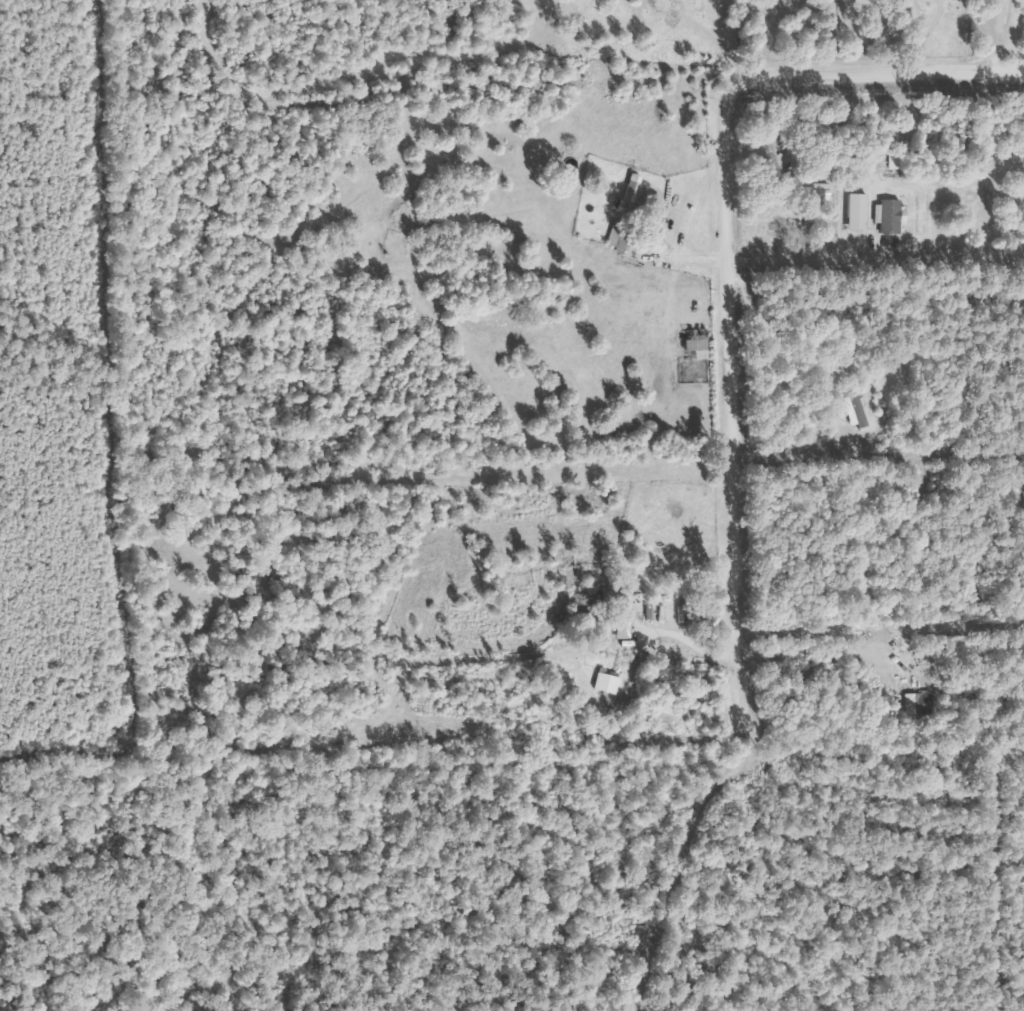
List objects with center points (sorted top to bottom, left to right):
road: (202, 8)
road: (599, 30)
road: (743, 70)
road: (384, 78)
road: (805, 78)
building: (854, 210)
building: (887, 215)
building: (616, 234)
building: (693, 343)
road: (731, 371)
building: (843, 408)
building: (621, 616)
road: (693, 647)
building: (605, 682)
building: (916, 704)
park: (696, 939)

